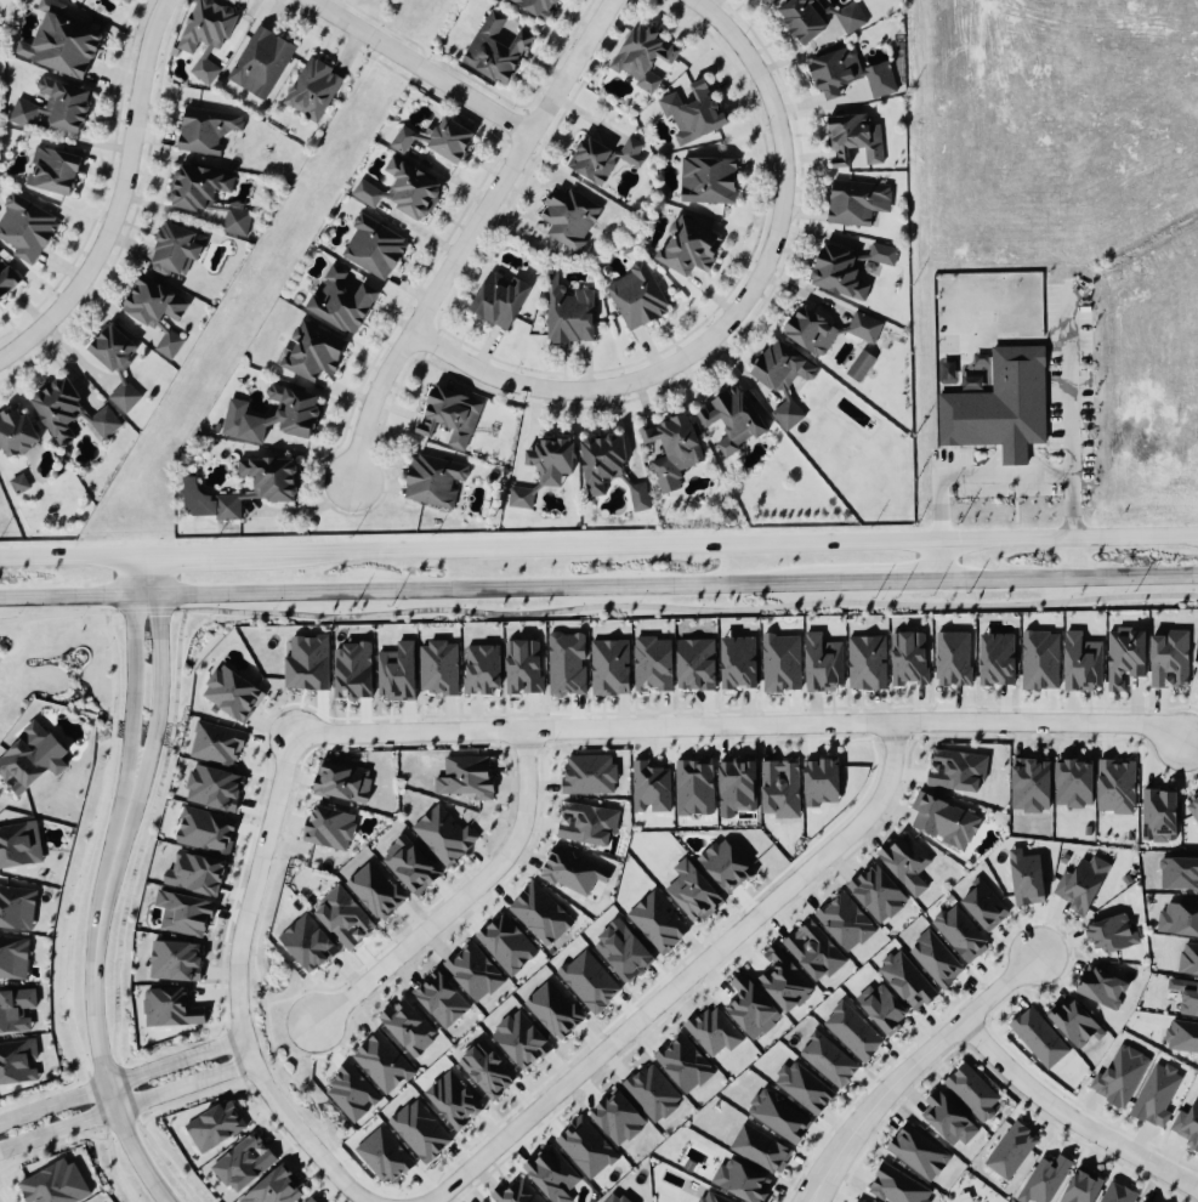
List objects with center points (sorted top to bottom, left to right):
building: (125, 1)
building: (129, 1)
building: (766, 2)
building: (534, 6)
building: (848, 19)
building: (800, 21)
building: (204, 39)
building: (63, 49)
building: (494, 51)
building: (642, 61)
building: (259, 64)
road: (422, 67)
road: (573, 67)
building: (841, 79)
building: (310, 91)
building: (51, 109)
building: (689, 114)
building: (203, 131)
building: (401, 142)
building: (447, 142)
building: (851, 143)
building: (629, 152)
building: (590, 163)
building: (50, 172)
building: (705, 182)
building: (197, 188)
building: (409, 192)
building: (364, 195)
road: (121, 202)
building: (856, 204)
building: (566, 220)
building: (234, 221)
building: (23, 229)
building: (172, 249)
building: (371, 249)
building: (686, 249)
building: (835, 273)
building: (6, 285)
building: (635, 299)
building: (496, 301)
road: (430, 302)
building: (339, 304)
building: (154, 314)
building: (566, 314)
road: (733, 316)
building: (862, 329)
building: (807, 334)
building: (110, 351)
building: (311, 353)
building: (862, 367)
building: (780, 381)
building: (121, 398)
building: (1000, 407)
road: (1071, 413)
building: (68, 415)
building: (283, 418)
building: (445, 419)
building: (728, 424)
building: (217, 429)
building: (13, 433)
building: (669, 448)
road: (1016, 457)
building: (547, 461)
building: (598, 464)
road: (952, 477)
building: (267, 480)
building: (431, 483)
building: (18, 484)
building: (521, 498)
building: (637, 498)
building: (205, 504)
road: (598, 552)
road: (131, 579)
road: (158, 579)
road: (1069, 580)
road: (869, 584)
road: (477, 590)
road: (144, 596)
road: (66, 599)
road: (144, 611)
building: (1124, 657)
building: (908, 658)
building: (953, 659)
building: (995, 659)
building: (1039, 660)
building: (1168, 660)
building: (780, 662)
building: (306, 663)
building: (738, 663)
building: (822, 663)
building: (867, 663)
building: (1080, 663)
building: (566, 664)
building: (652, 664)
building: (694, 664)
building: (522, 667)
building: (438, 668)
building: (481, 668)
building: (609, 668)
building: (351, 671)
building: (396, 671)
road: (134, 684)
road: (159, 686)
building: (229, 693)
road: (532, 708)
road: (739, 727)
building: (215, 743)
building: (29, 759)
building: (955, 771)
building: (589, 776)
building: (465, 778)
building: (341, 782)
building: (821, 782)
building: (1072, 784)
building: (1028, 786)
building: (693, 787)
building: (1115, 787)
building: (212, 788)
building: (649, 788)
building: (736, 788)
building: (780, 789)
building: (1193, 806)
building: (1158, 816)
building: (943, 821)
building: (586, 823)
building: (329, 828)
building: (205, 830)
building: (443, 835)
building: (19, 845)
building: (905, 863)
building: (408, 866)
building: (725, 866)
building: (572, 872)
building: (1179, 873)
building: (193, 874)
building: (1026, 878)
road: (811, 879)
building: (1080, 885)
building: (374, 891)
building: (692, 892)
building: (876, 894)
road: (461, 900)
building: (984, 907)
building: (16, 908)
road: (74, 909)
building: (182, 913)
road: (124, 915)
building: (539, 915)
building: (341, 918)
building: (1179, 919)
building: (845, 922)
building: (657, 923)
road: (1051, 923)
building: (1111, 934)
building: (960, 935)
building: (307, 945)
building: (505, 945)
building: (621, 951)
building: (813, 952)
building: (1188, 959)
building: (174, 960)
building: (936, 960)
building: (472, 973)
road: (686, 977)
building: (905, 980)
building: (783, 981)
building: (589, 982)
road: (238, 986)
building: (1101, 988)
road: (93, 991)
building: (1187, 998)
building: (439, 1000)
building: (170, 1008)
building: (750, 1008)
building: (882, 1008)
building: (16, 1010)
building: (552, 1011)
building: (1074, 1024)
building: (408, 1027)
building: (712, 1032)
building: (852, 1032)
building: (1182, 1037)
building: (1038, 1038)
building: (519, 1041)
building: (828, 1060)
road: (175, 1061)
building: (18, 1062)
building: (381, 1064)
building: (683, 1065)
road: (984, 1065)
road: (913, 1066)
building: (486, 1071)
building: (1120, 1076)
road: (536, 1081)
road: (183, 1087)
building: (804, 1088)
building: (653, 1093)
building: (972, 1093)
building: (351, 1094)
building: (1156, 1095)
road: (256, 1099)
building: (453, 1101)
road: (53, 1105)
building: (779, 1116)
building: (617, 1119)
building: (947, 1119)
road: (1068, 1119)
building: (214, 1126)
building: (1187, 1126)
road: (57, 1132)
building: (420, 1132)
building: (585, 1149)
building: (761, 1150)
building: (1011, 1151)
building: (918, 1152)
building: (243, 1163)
building: (689, 1167)
building: (551, 1175)
building: (1044, 1180)
building: (742, 1181)
building: (53, 1184)
building: (897, 1186)
building: (1080, 1187)
building: (273, 1189)
building: (515, 1194)
building: (1119, 1195)
building: (614, 1198)
building: (710, 1198)
road: (810, 1198)
road: (812, 1198)
building: (307, 1201)
building: (857, 1201)
building: (1140, 1201)

